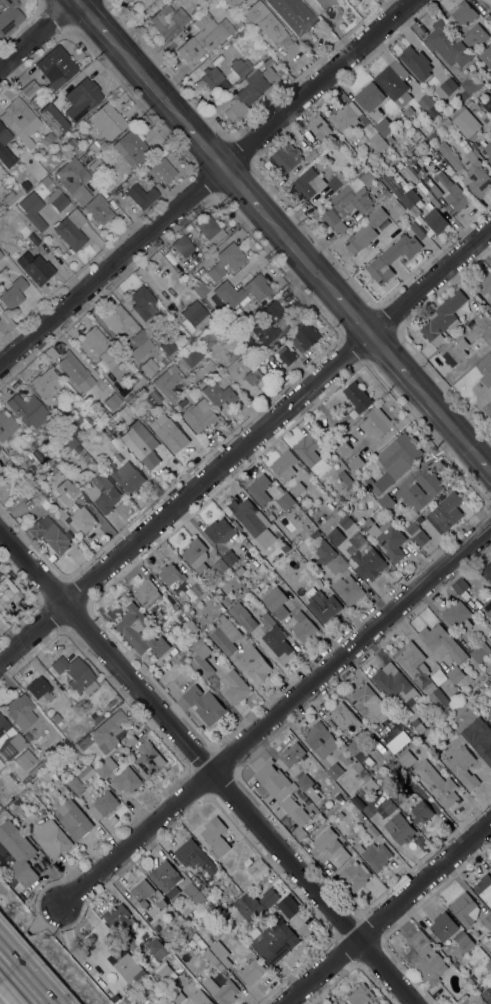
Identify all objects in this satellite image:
building: (170, 1)
building: (248, 1)
building: (232, 2)
building: (142, 3)
building: (325, 3)
building: (461, 14)
building: (293, 15)
building: (8, 17)
road: (94, 18)
building: (487, 18)
building: (169, 21)
building: (237, 24)
building: (269, 26)
building: (241, 31)
road: (37, 33)
building: (204, 35)
building: (474, 36)
building: (448, 44)
building: (486, 55)
building: (416, 63)
building: (239, 66)
building: (56, 67)
road: (148, 79)
building: (214, 79)
building: (394, 82)
building: (472, 84)
building: (30, 88)
building: (446, 89)
building: (251, 90)
building: (464, 94)
building: (369, 96)
building: (81, 98)
building: (34, 101)
building: (486, 105)
building: (428, 106)
building: (408, 112)
building: (53, 117)
building: (21, 120)
building: (107, 120)
building: (345, 120)
building: (465, 121)
building: (319, 125)
building: (445, 125)
building: (384, 126)
building: (48, 136)
building: (390, 139)
building: (72, 142)
road: (204, 143)
building: (377, 143)
building: (340, 144)
building: (474, 144)
building: (486, 144)
building: (95, 145)
building: (132, 146)
building: (5, 148)
building: (313, 149)
building: (58, 154)
building: (286, 158)
building: (96, 166)
building: (160, 168)
building: (415, 168)
building: (468, 170)
building: (362, 176)
building: (74, 179)
building: (46, 181)
road: (204, 181)
building: (308, 183)
building: (335, 183)
building: (25, 185)
road: (242, 187)
building: (433, 188)
building: (403, 193)
building: (141, 195)
building: (452, 195)
building: (11, 196)
building: (57, 199)
building: (348, 206)
building: (98, 208)
building: (33, 210)
building: (10, 213)
building: (435, 221)
building: (71, 229)
building: (23, 230)
building: (210, 230)
building: (417, 231)
building: (365, 232)
building: (4, 234)
building: (182, 245)
road: (297, 250)
building: (392, 258)
building: (226, 260)
building: (38, 269)
building: (184, 278)
building: (484, 284)
building: (219, 288)
building: (200, 289)
building: (242, 292)
building: (13, 293)
building: (142, 302)
building: (0, 309)
road: (351, 311)
building: (447, 314)
building: (193, 315)
building: (118, 319)
building: (229, 321)
building: (267, 321)
building: (465, 330)
building: (304, 337)
building: (207, 339)
building: (244, 340)
building: (187, 341)
building: (140, 344)
building: (101, 346)
building: (480, 346)
building: (169, 347)
building: (233, 352)
building: (455, 353)
road: (388, 354)
building: (286, 355)
building: (190, 356)
building: (244, 364)
building: (148, 366)
building: (74, 370)
building: (485, 370)
building: (253, 375)
building: (138, 381)
building: (45, 382)
building: (168, 382)
building: (282, 382)
building: (218, 394)
building: (151, 398)
building: (357, 399)
building: (112, 400)
building: (177, 407)
building: (28, 409)
building: (488, 410)
building: (125, 411)
building: (199, 415)
road: (442, 416)
building: (375, 423)
building: (6, 424)
building: (169, 433)
building: (34, 443)
road: (245, 443)
building: (141, 444)
building: (308, 448)
building: (347, 454)
building: (118, 457)
building: (394, 462)
building: (8, 463)
road: (484, 464)
building: (283, 465)
building: (30, 469)
building: (128, 477)
building: (346, 479)
building: (296, 488)
building: (65, 489)
building: (259, 489)
building: (422, 491)
building: (103, 492)
building: (286, 501)
building: (386, 502)
building: (63, 514)
building: (393, 514)
building: (447, 514)
building: (408, 517)
building: (82, 520)
building: (251, 520)
building: (345, 522)
building: (313, 527)
building: (412, 527)
building: (219, 530)
building: (49, 533)
building: (315, 534)
building: (336, 536)
building: (421, 538)
building: (387, 540)
building: (284, 547)
building: (196, 555)
building: (330, 557)
building: (364, 557)
building: (229, 558)
building: (222, 570)
building: (239, 570)
building: (0, 573)
building: (486, 573)
building: (170, 574)
building: (235, 580)
building: (243, 587)
building: (461, 588)
building: (198, 589)
building: (348, 589)
building: (8, 591)
building: (147, 593)
building: (226, 601)
building: (276, 602)
building: (323, 605)
building: (489, 613)
building: (158, 615)
building: (242, 616)
building: (457, 617)
building: (303, 627)
building: (190, 628)
building: (139, 632)
building: (225, 635)
building: (276, 639)
building: (178, 640)
building: (442, 643)
building: (174, 650)
building: (477, 650)
building: (182, 652)
building: (182, 660)
building: (202, 661)
building: (255, 664)
building: (76, 674)
building: (421, 674)
building: (455, 674)
building: (467, 680)
building: (486, 684)
building: (395, 685)
building: (233, 687)
building: (39, 688)
building: (481, 688)
building: (366, 702)
building: (202, 704)
building: (20, 710)
road: (275, 715)
building: (96, 716)
building: (343, 716)
building: (489, 717)
building: (418, 726)
building: (384, 729)
building: (108, 731)
building: (71, 737)
building: (9, 739)
building: (479, 739)
building: (320, 740)
building: (130, 741)
building: (82, 744)
building: (354, 748)
building: (292, 754)
building: (344, 758)
building: (25, 759)
building: (148, 759)
building: (406, 759)
building: (1, 763)
building: (106, 767)
road: (205, 767)
building: (463, 767)
building: (36, 769)
building: (335, 771)
building: (350, 777)
building: (81, 779)
building: (57, 780)
building: (127, 780)
building: (304, 782)
building: (437, 783)
building: (280, 791)
building: (301, 796)
building: (398, 797)
building: (17, 802)
building: (103, 805)
building: (388, 806)
building: (421, 812)
building: (340, 815)
building: (73, 819)
building: (213, 830)
building: (373, 831)
building: (400, 833)
building: (53, 837)
building: (326, 839)
building: (219, 848)
building: (18, 853)
building: (375, 855)
building: (194, 856)
building: (257, 868)
building: (355, 876)
building: (166, 878)
building: (198, 883)
building: (484, 888)
building: (142, 892)
building: (194, 893)
building: (161, 903)
building: (206, 904)
building: (289, 906)
road: (385, 906)
building: (251, 908)
building: (228, 909)
building: (465, 909)
road: (45, 919)
building: (118, 919)
building: (487, 922)
building: (443, 926)
building: (187, 931)
building: (463, 941)
building: (130, 942)
building: (274, 942)
building: (156, 948)
building: (220, 954)
building: (424, 959)
building: (213, 960)
building: (125, 965)
building: (488, 965)
building: (251, 971)
building: (167, 974)
building: (149, 979)
building: (472, 980)
road: (17, 984)
building: (221, 990)
building: (487, 994)
building: (176, 995)
building: (360, 995)
building: (477, 996)
building: (199, 997)
building: (114, 998)
building: (126, 1000)
building: (163, 1000)
building: (463, 1000)

